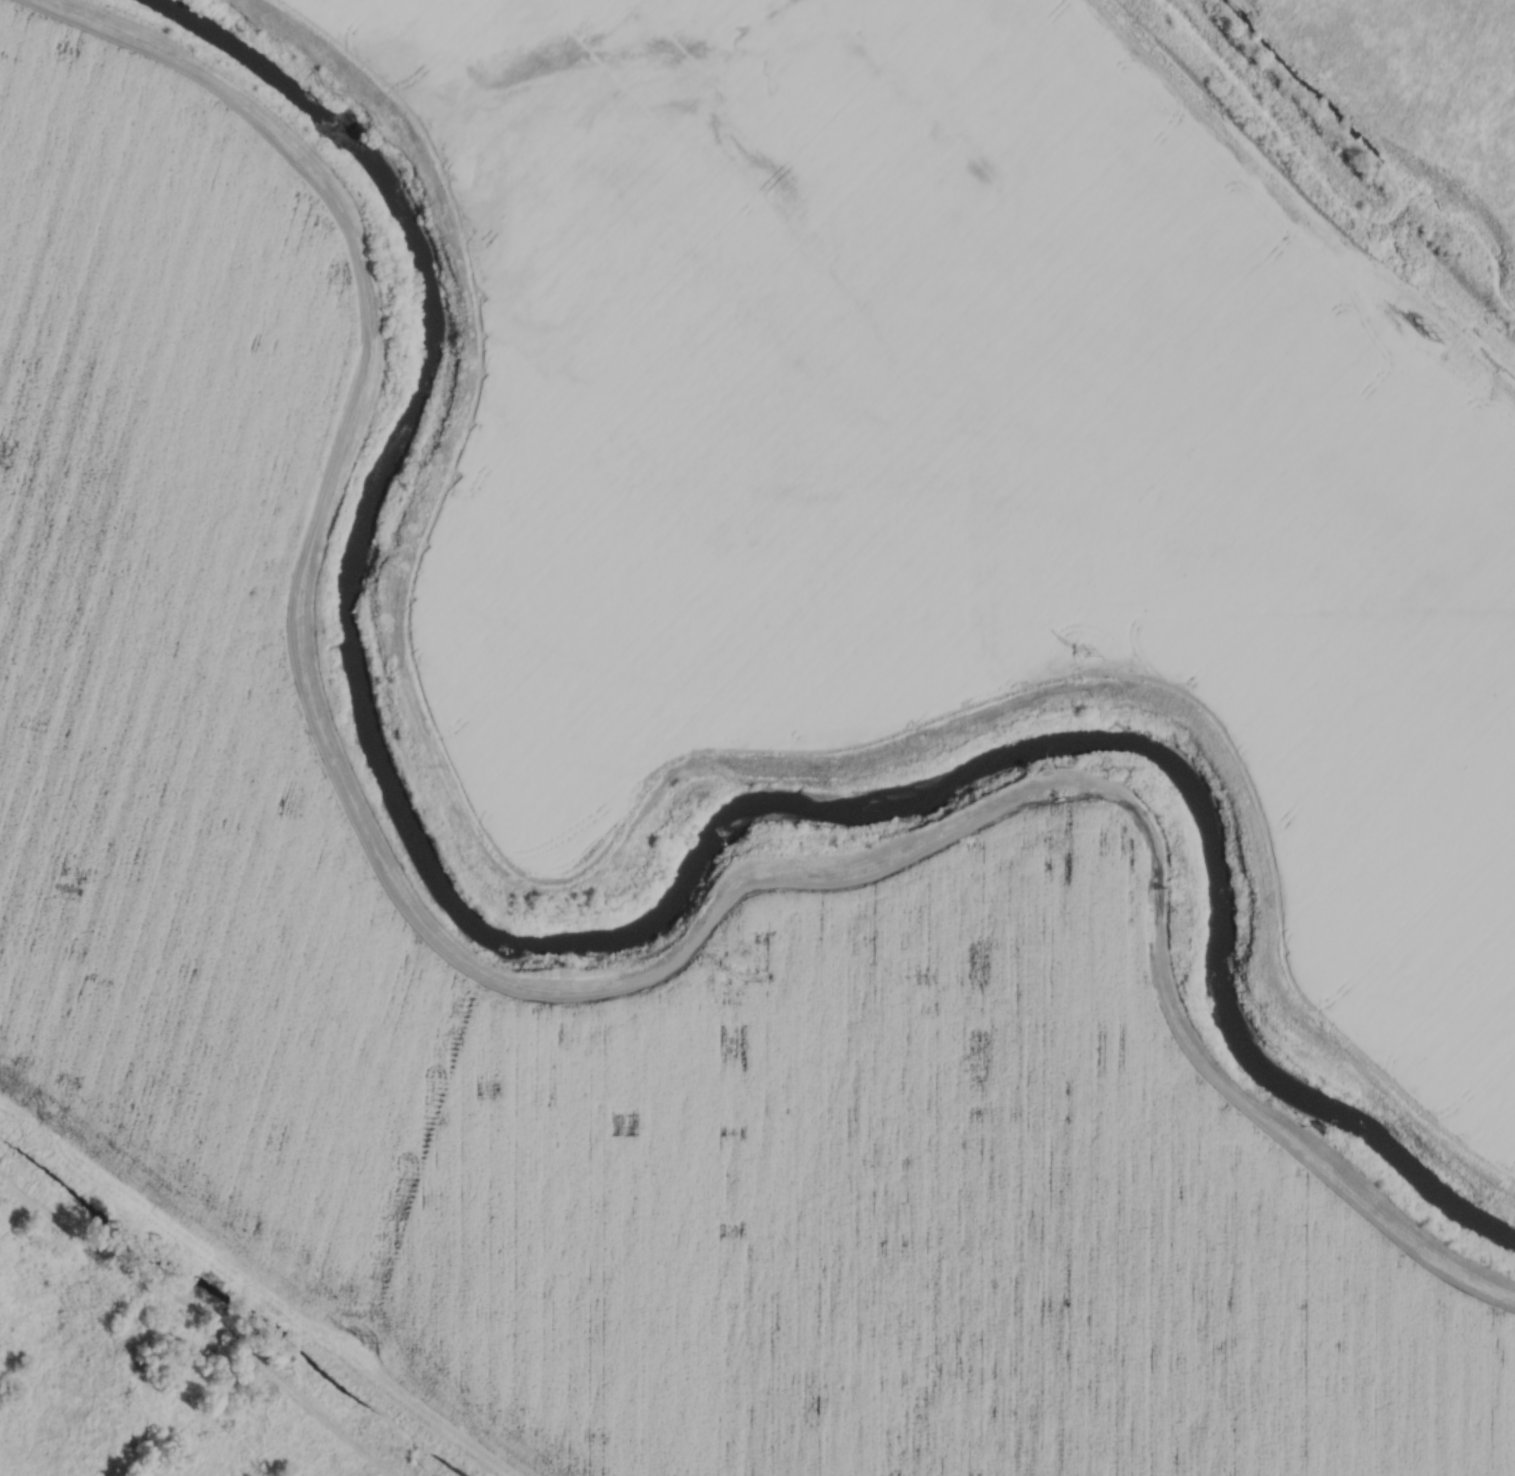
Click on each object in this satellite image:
river: (1361, 158)
power tower: (1413, 311)
power tower: (1080, 647)
river: (642, 923)
power tower: (743, 967)
power tower: (361, 1341)

